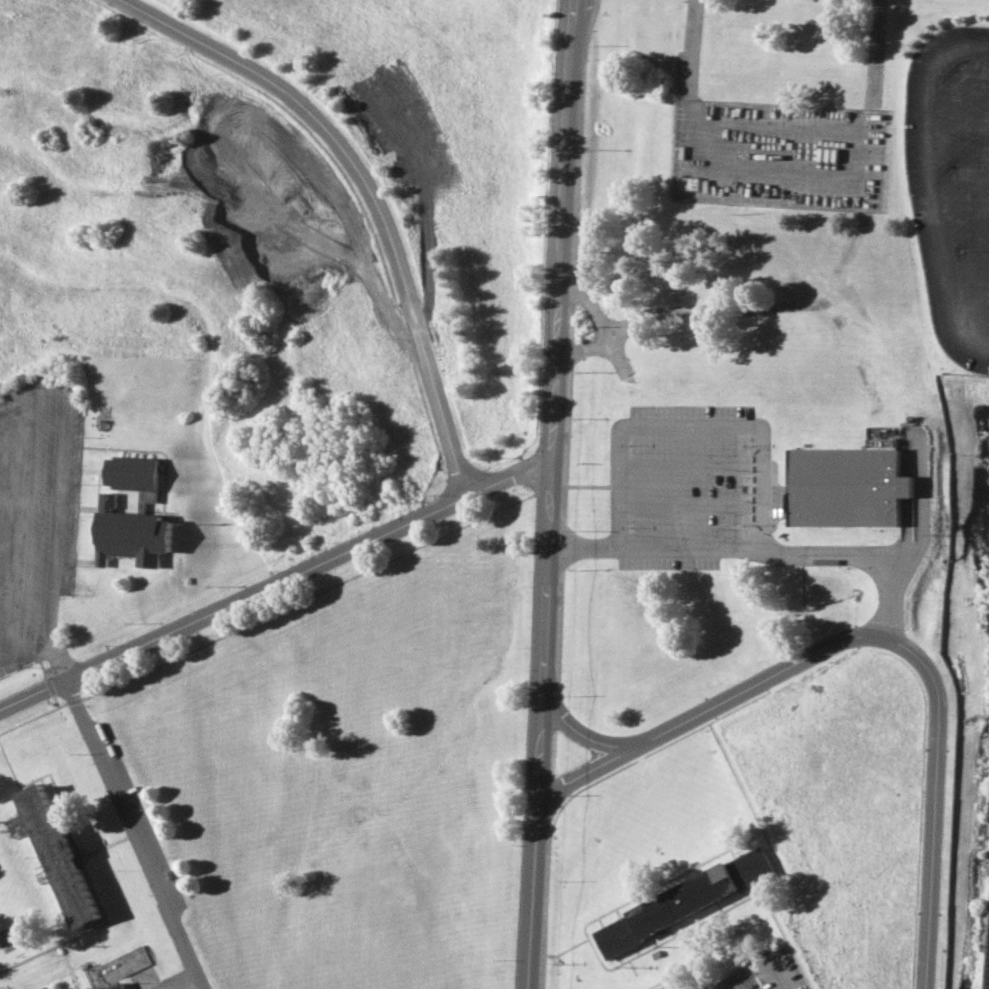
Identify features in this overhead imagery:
road: (933, 177)
parking lot: (950, 177)
road: (368, 192)
building: (133, 475)
building: (847, 487)
road: (553, 494)
parking lot: (735, 499)
road: (54, 524)
building: (129, 535)
road: (757, 551)
road: (385, 555)
road: (276, 580)
road: (883, 636)
road: (39, 644)
road: (152, 661)
road: (35, 715)
road: (580, 731)
road: (50, 780)
road: (579, 788)
road: (133, 833)
road: (115, 840)
road: (749, 845)
road: (732, 853)
building: (59, 858)
road: (697, 870)
road: (781, 878)
road: (767, 882)
road: (752, 890)
road: (144, 900)
building: (682, 902)
road: (717, 907)
road: (612, 908)
road: (617, 913)
road: (599, 922)
road: (93, 927)
road: (785, 939)
road: (653, 941)
parking lot: (984, 943)
road: (566, 948)
road: (636, 950)
road: (21, 959)
road: (619, 959)
road: (762, 964)
road: (185, 973)
road: (634, 974)
parking lot: (764, 974)
parking lot: (169, 982)
road: (656, 982)
road: (686, 984)
building: (115, 986)
building: (42, 987)
building: (46, 988)
building: (87, 988)
building: (91, 988)
building: (655, 988)

